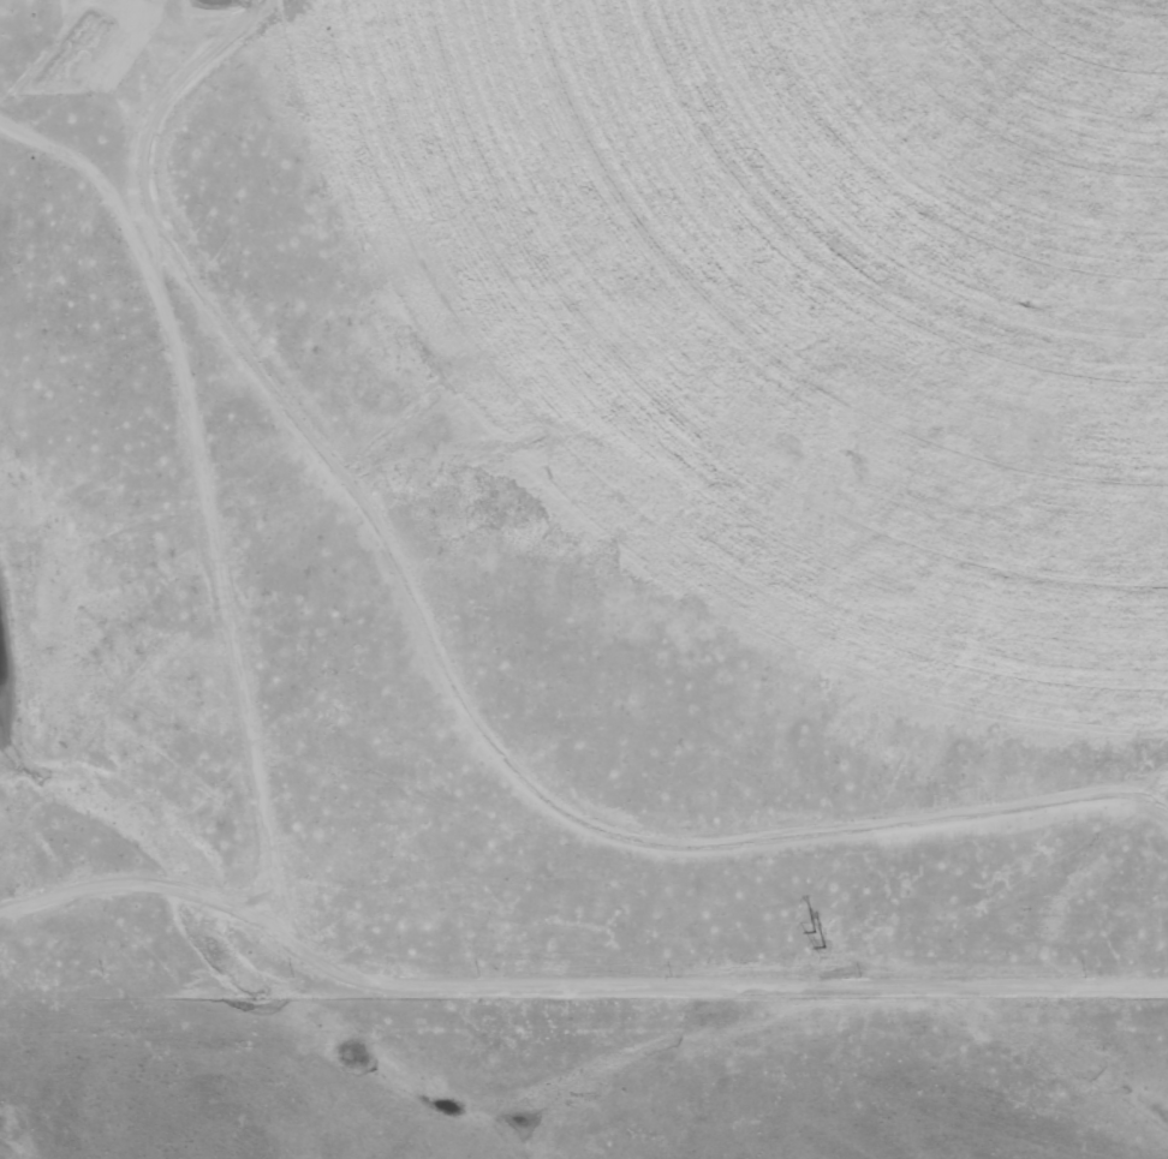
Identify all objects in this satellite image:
road: (288, 841)
power tower: (821, 938)

